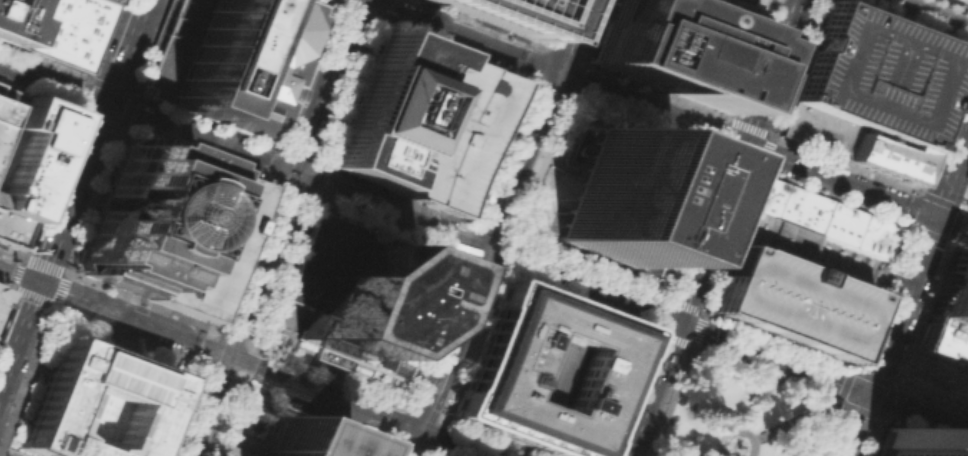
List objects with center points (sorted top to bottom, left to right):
building: (107, 1)
building: (964, 1)
building: (747, 3)
road: (953, 5)
railway: (939, 11)
building: (498, 15)
road: (925, 16)
building: (13, 19)
road: (373, 21)
road: (911, 22)
building: (63, 30)
road: (491, 32)
road: (574, 37)
building: (676, 45)
building: (234, 61)
traffic signals: (560, 74)
building: (877, 75)
parking lot: (877, 75)
road: (82, 76)
road: (93, 79)
road: (520, 84)
road: (321, 86)
road: (566, 96)
road: (568, 98)
road: (681, 100)
traffic signals: (108, 105)
building: (385, 108)
building: (7, 109)
road: (665, 114)
road: (144, 118)
road: (749, 126)
building: (818, 130)
road: (719, 133)
building: (454, 135)
parking garage: (454, 135)
road: (94, 140)
traffic signals: (744, 144)
fountain: (579, 149)
road: (764, 153)
building: (29, 154)
building: (884, 155)
road: (734, 160)
road: (842, 163)
traffic signals: (288, 174)
road: (313, 178)
road: (919, 192)
road: (965, 199)
building: (627, 201)
building: (789, 204)
road: (950, 204)
building: (967, 205)
building: (967, 207)
road: (965, 209)
building: (131, 214)
traffic signals: (934, 217)
building: (840, 224)
road: (903, 224)
railway: (272, 226)
road: (712, 227)
railway: (497, 228)
building: (16, 232)
road: (934, 235)
building: (874, 236)
building: (199, 239)
parking garage: (199, 239)
building: (776, 239)
road: (491, 250)
traffic signals: (491, 251)
road: (10, 252)
road: (35, 261)
road: (254, 262)
road: (8, 269)
road: (16, 273)
road: (499, 273)
road: (29, 276)
road: (516, 279)
traffic signals: (41, 281)
road: (5, 287)
building: (1, 291)
road: (905, 291)
building: (952, 292)
road: (22, 293)
building: (357, 300)
road: (5, 301)
road: (628, 302)
building: (791, 302)
parking lot: (791, 302)
road: (678, 303)
building: (446, 307)
road: (653, 310)
road: (122, 312)
traffic signals: (677, 321)
road: (701, 321)
road: (660, 333)
road: (125, 334)
road: (20, 335)
building: (272, 336)
road: (248, 340)
road: (909, 340)
building: (943, 341)
road: (690, 345)
road: (213, 346)
traffic signals: (221, 350)
road: (233, 355)
flagpole: (170, 361)
road: (210, 365)
road: (243, 367)
building: (546, 371)
road: (26, 373)
road: (765, 373)
road: (869, 375)
road: (321, 389)
road: (711, 389)
building: (760, 392)
traffic signals: (867, 394)
road: (406, 398)
road: (669, 400)
road: (202, 402)
road: (416, 403)
building: (94, 404)
road: (181, 409)
road: (226, 415)
road: (331, 415)
park: (740, 415)
road: (308, 419)
fountain: (669, 420)
road: (794, 421)
road: (243, 425)
fountain: (256, 425)
road: (419, 426)
road: (395, 427)
traffic signals: (424, 428)
road: (826, 428)
road: (903, 428)
road: (268, 431)
road: (738, 432)
road: (251, 440)
building: (304, 440)
road: (418, 441)
road: (469, 445)
building: (911, 445)
road: (388, 446)
road: (354, 447)
road: (430, 450)
road: (10, 451)
road: (224, 452)
road: (433, 454)
road: (439, 454)
road: (720, 454)

